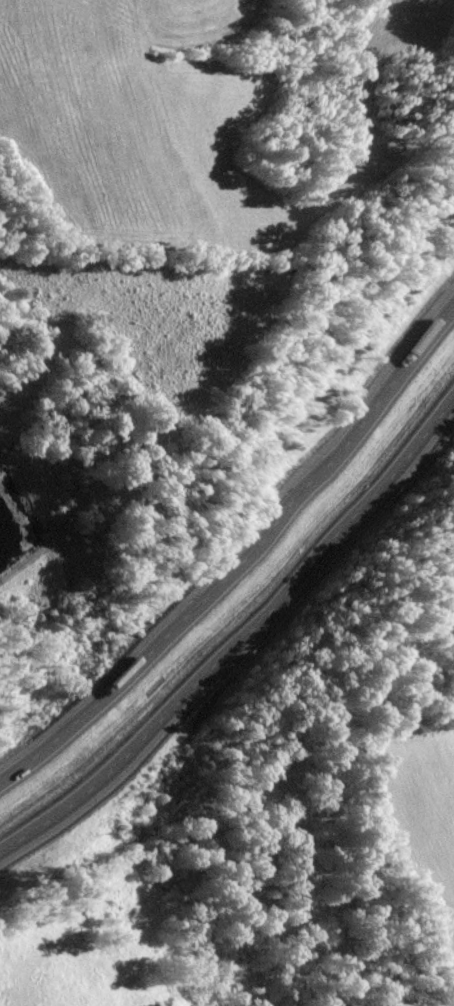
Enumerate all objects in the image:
road: (238, 547)
road: (239, 643)

